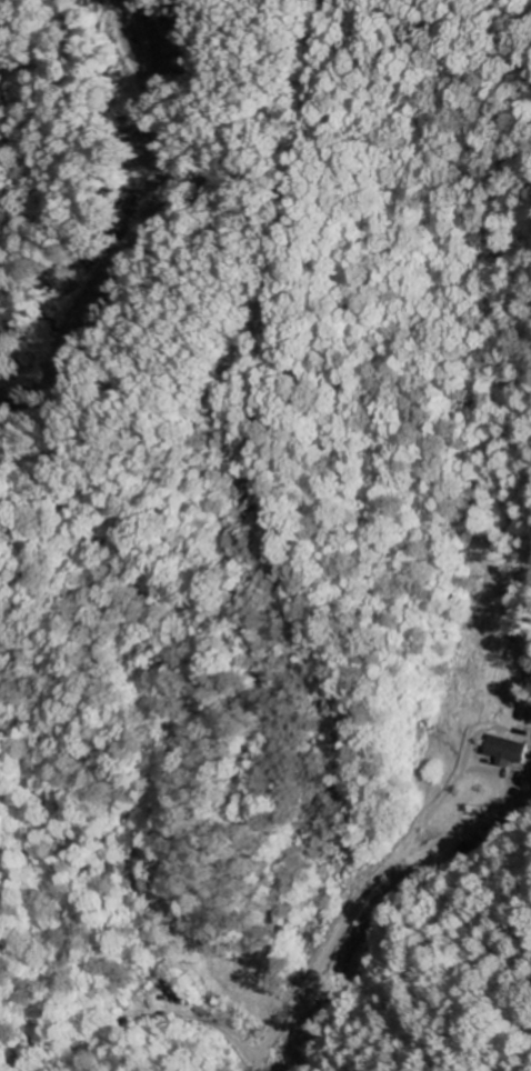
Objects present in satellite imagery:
building: (510, 750)
building: (495, 831)
road: (338, 940)

